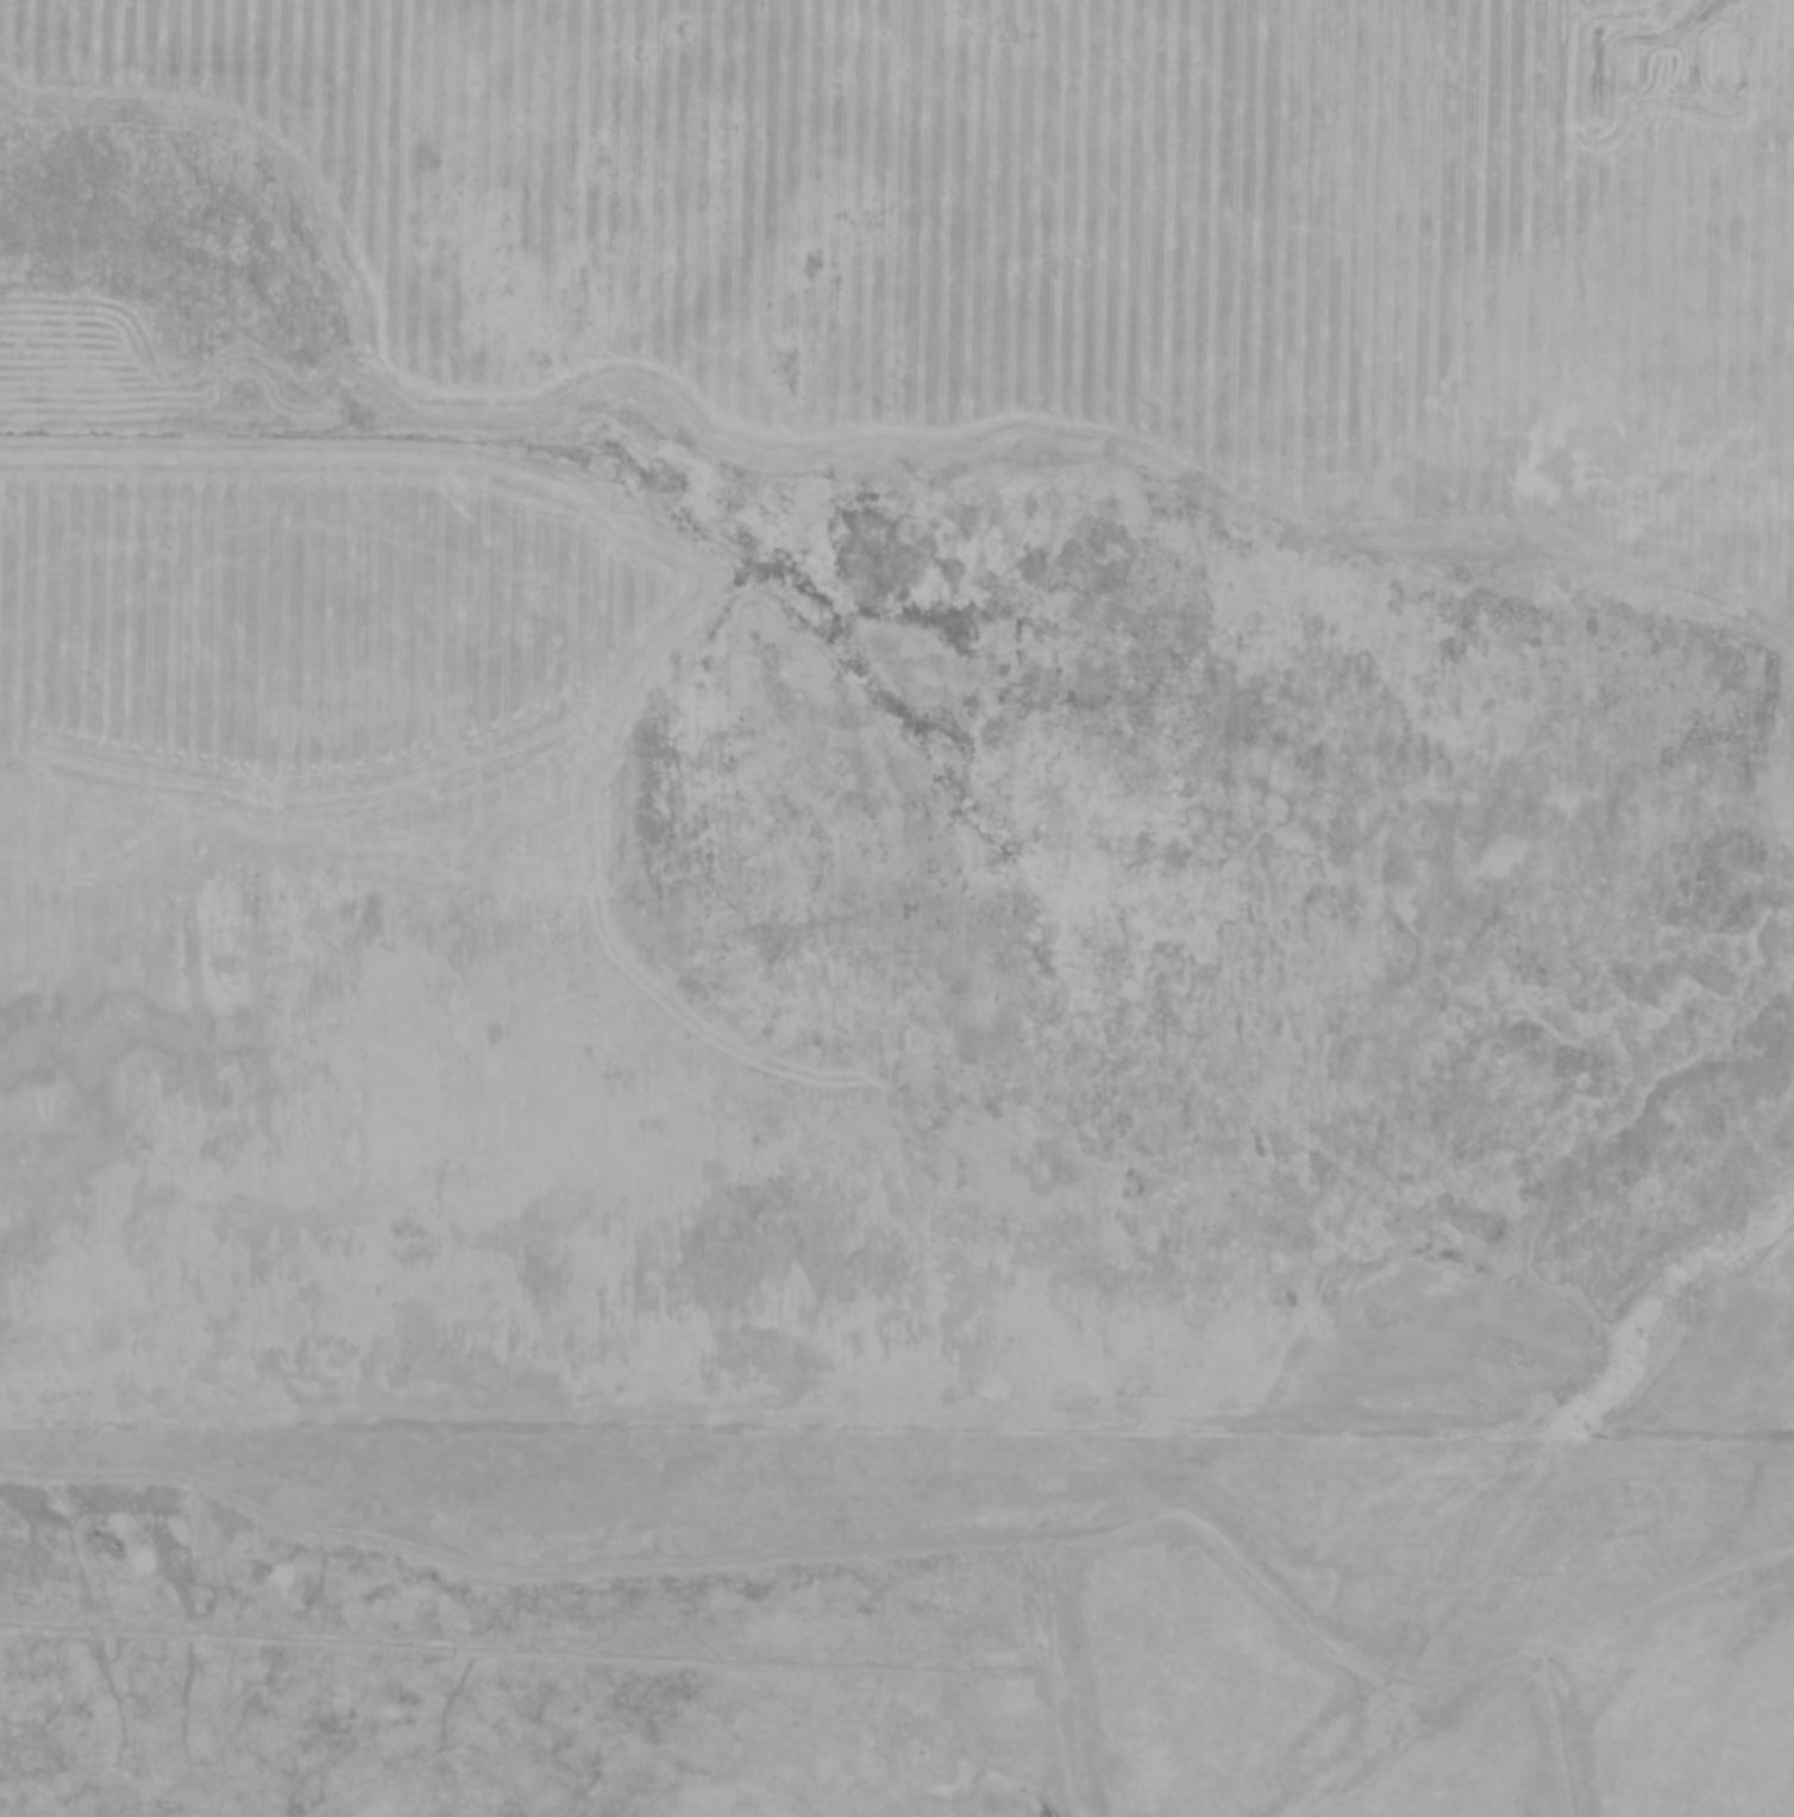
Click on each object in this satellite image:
crop: (616, 202)

